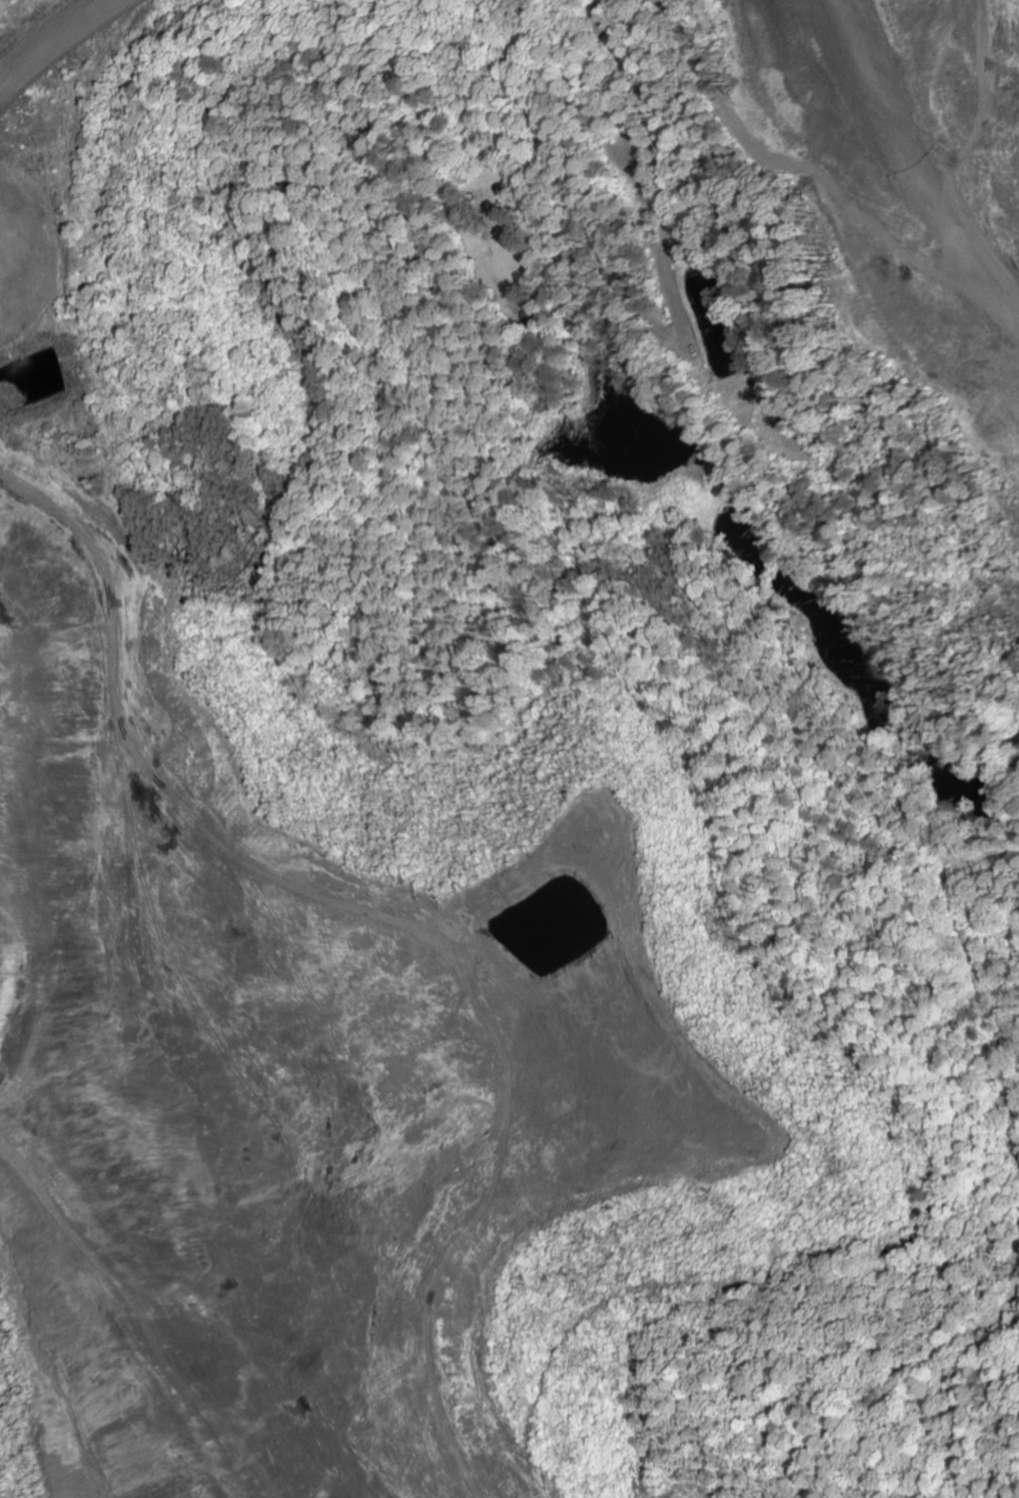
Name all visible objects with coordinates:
road: (987, 162)
road: (780, 338)
road: (976, 560)

